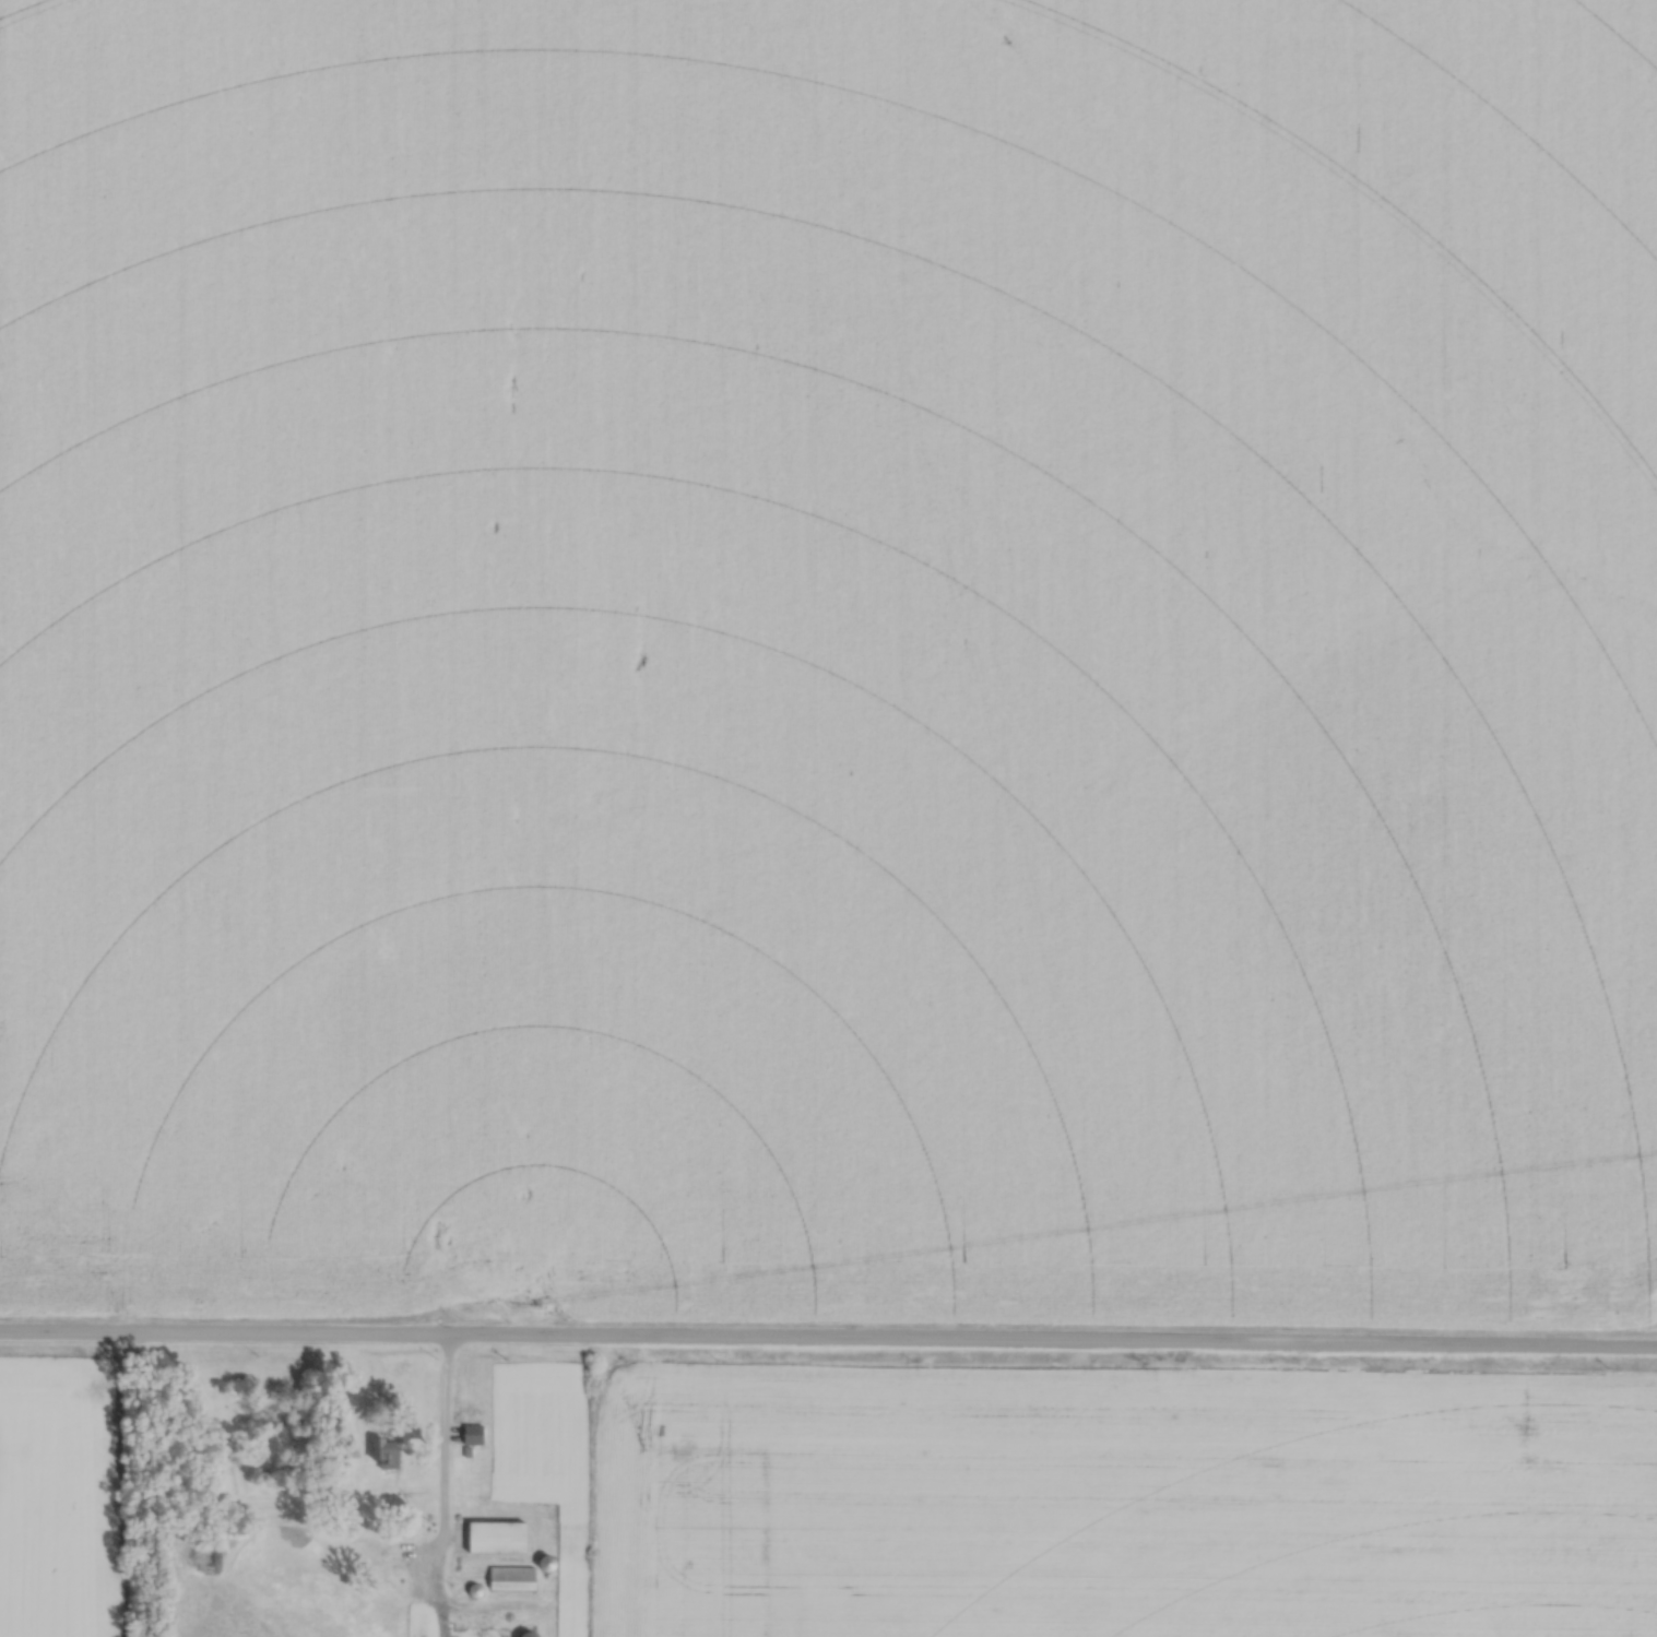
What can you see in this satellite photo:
road: (828, 1338)
building: (474, 1430)
road: (443, 1434)
building: (387, 1448)
building: (502, 1531)
building: (397, 1546)
building: (516, 1574)
building: (412, 1618)
building: (499, 1630)

